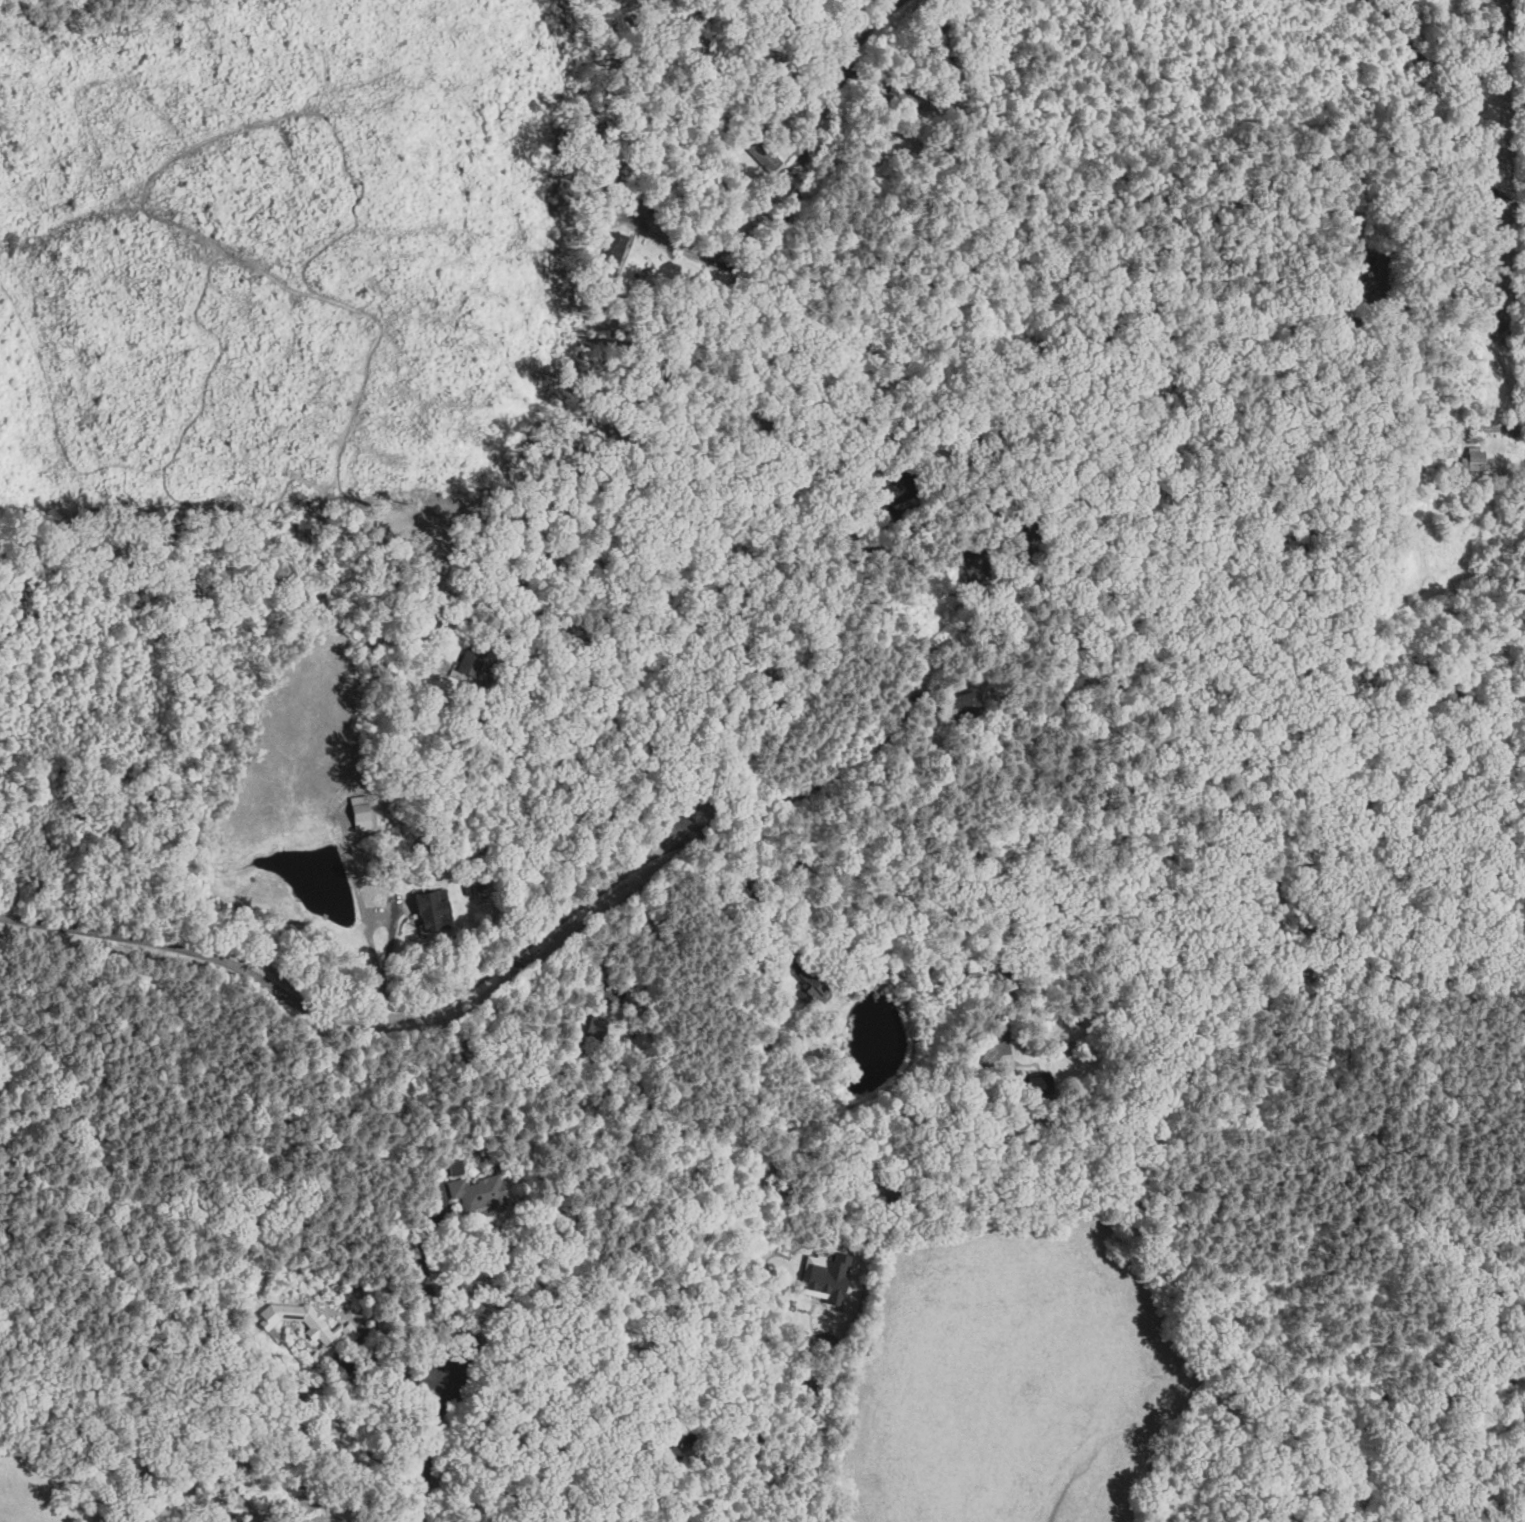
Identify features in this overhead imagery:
road: (866, 30)
road: (1475, 63)
road: (1428, 68)
building: (1470, 93)
building: (764, 156)
road: (1428, 330)
building: (1476, 460)
road: (810, 678)
road: (510, 748)
road: (820, 788)
building: (360, 808)
road: (892, 892)
road: (751, 900)
building: (436, 913)
road: (366, 921)
road: (356, 1019)
building: (478, 1190)
building: (825, 1272)
road: (437, 1304)
road: (394, 1373)
road: (766, 1432)
road: (818, 1436)
road: (425, 1447)

